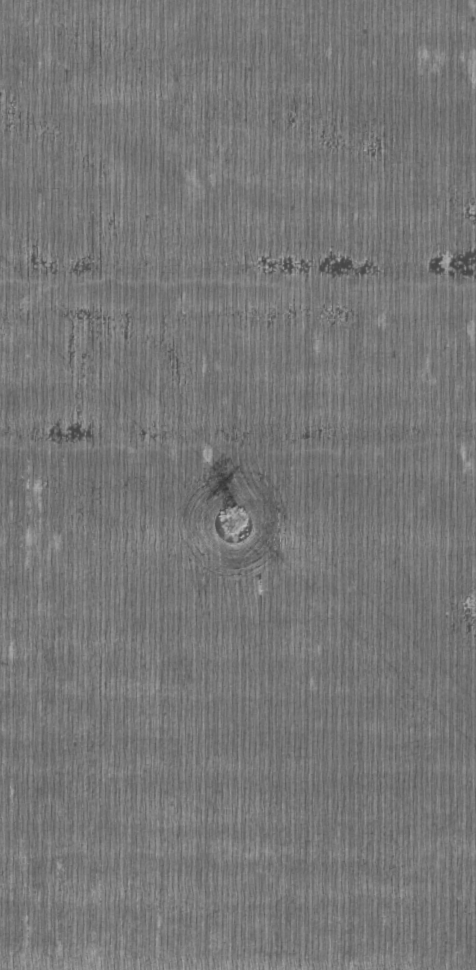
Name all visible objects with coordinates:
power tower: (232, 521)

